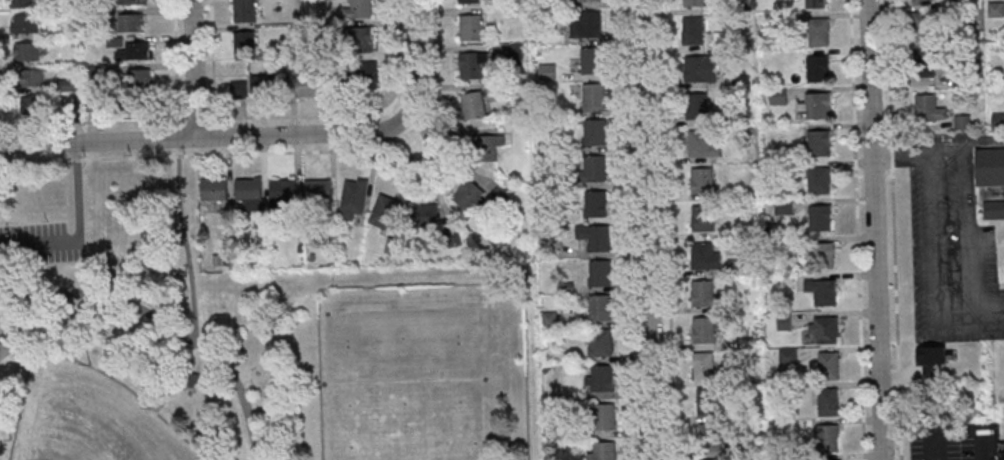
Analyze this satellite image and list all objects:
building: (591, 0)
building: (132, 1)
building: (469, 1)
building: (693, 2)
building: (922, 2)
building: (23, 3)
building: (815, 3)
building: (360, 8)
building: (245, 10)
building: (131, 22)
building: (26, 23)
building: (587, 25)
building: (922, 26)
building: (471, 27)
building: (693, 30)
building: (819, 31)
building: (358, 39)
building: (245, 40)
building: (27, 51)
building: (135, 51)
road: (415, 53)
road: (214, 58)
road: (173, 59)
building: (591, 60)
building: (927, 63)
building: (472, 65)
building: (701, 68)
building: (818, 68)
road: (195, 69)
building: (364, 71)
building: (547, 71)
building: (31, 78)
building: (137, 78)
building: (65, 86)
building: (263, 86)
building: (310, 87)
building: (594, 96)
building: (473, 105)
building: (818, 105)
building: (32, 106)
building: (697, 106)
building: (929, 109)
road: (353, 113)
road: (198, 118)
building: (998, 119)
road: (94, 121)
building: (963, 122)
building: (595, 132)
road: (209, 137)
road: (978, 138)
building: (820, 142)
building: (702, 144)
building: (477, 147)
road: (358, 151)
road: (424, 156)
road: (75, 158)
road: (34, 159)
building: (595, 167)
building: (702, 180)
building: (819, 180)
building: (990, 180)
building: (215, 188)
building: (318, 190)
building: (249, 192)
building: (283, 193)
building: (354, 197)
building: (469, 197)
building: (595, 203)
road: (965, 204)
building: (783, 207)
building: (384, 211)
building: (821, 217)
building: (425, 218)
building: (703, 218)
road: (894, 229)
road: (79, 230)
road: (630, 230)
road: (648, 230)
road: (667, 230)
road: (858, 230)
road: (876, 230)
building: (594, 238)
road: (186, 242)
parking lot: (39, 245)
road: (929, 251)
building: (820, 255)
building: (705, 256)
building: (600, 274)
building: (823, 291)
building: (706, 294)
building: (599, 309)
building: (549, 320)
road: (167, 323)
building: (823, 329)
building: (704, 330)
park: (241, 338)
building: (600, 343)
road: (197, 357)
building: (829, 366)
building: (703, 367)
building: (194, 377)
building: (600, 379)
building: (708, 402)
building: (828, 402)
building: (604, 416)
park: (90, 418)
road: (960, 432)
building: (709, 438)
building: (828, 438)
building: (603, 451)
building: (1001, 455)
building: (709, 459)

